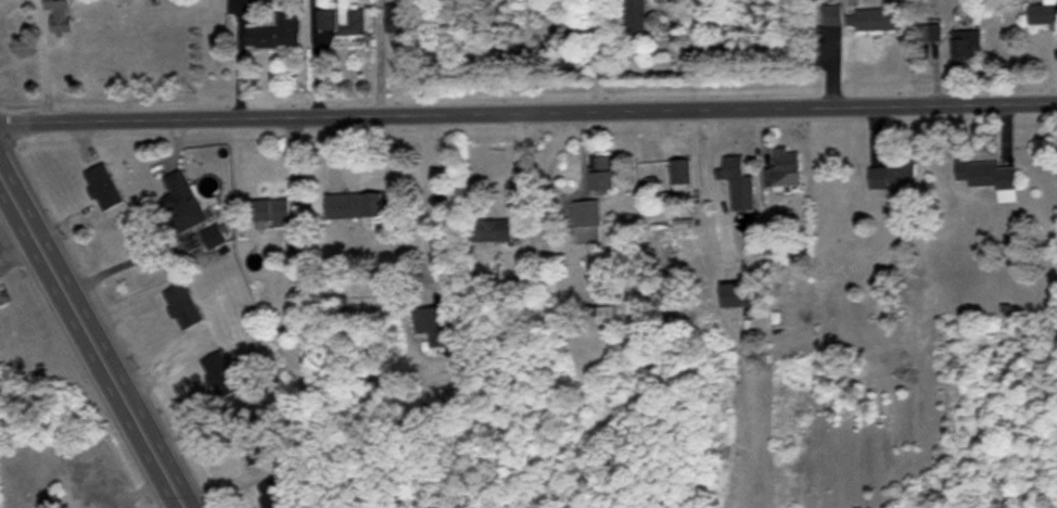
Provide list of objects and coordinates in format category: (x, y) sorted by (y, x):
building: (1043, 13)
building: (60, 15)
building: (635, 15)
building: (394, 17)
building: (862, 17)
building: (341, 21)
building: (277, 34)
building: (929, 34)
building: (967, 47)
road: (43, 60)
road: (527, 111)
building: (781, 169)
building: (679, 172)
building: (603, 174)
building: (891, 176)
building: (736, 178)
building: (989, 178)
building: (103, 188)
road: (715, 188)
building: (184, 202)
building: (355, 206)
building: (272, 212)
building: (586, 223)
building: (489, 230)
building: (216, 236)
building: (738, 295)
building: (2, 297)
building: (182, 307)
building: (602, 316)
road: (92, 339)
building: (220, 376)
building: (253, 443)
building: (275, 494)

